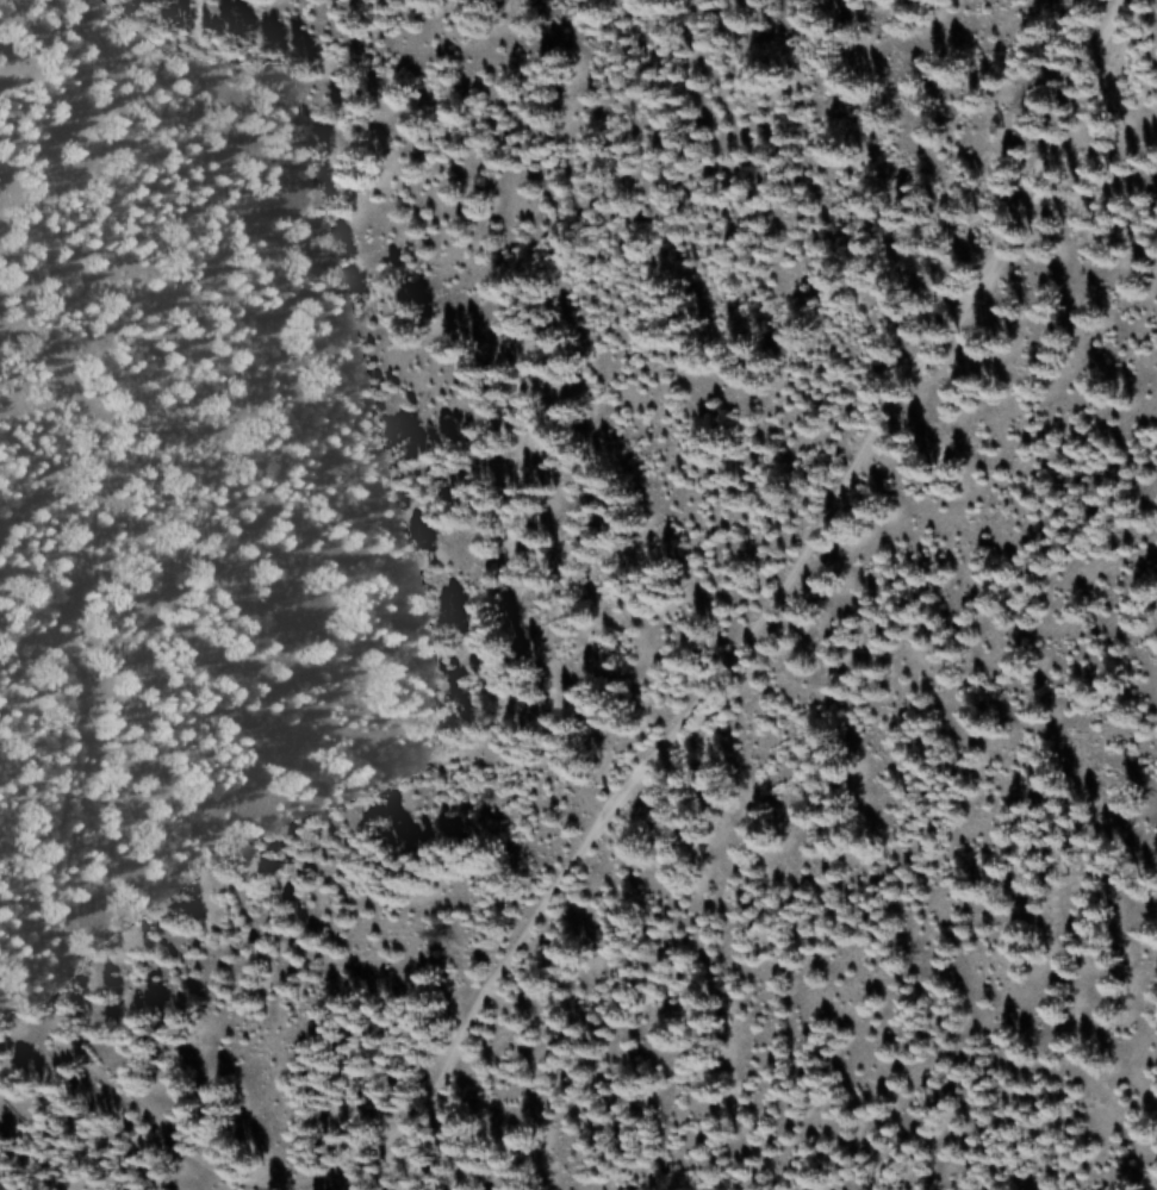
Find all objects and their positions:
road: (796, 599)
road: (114, 1022)

